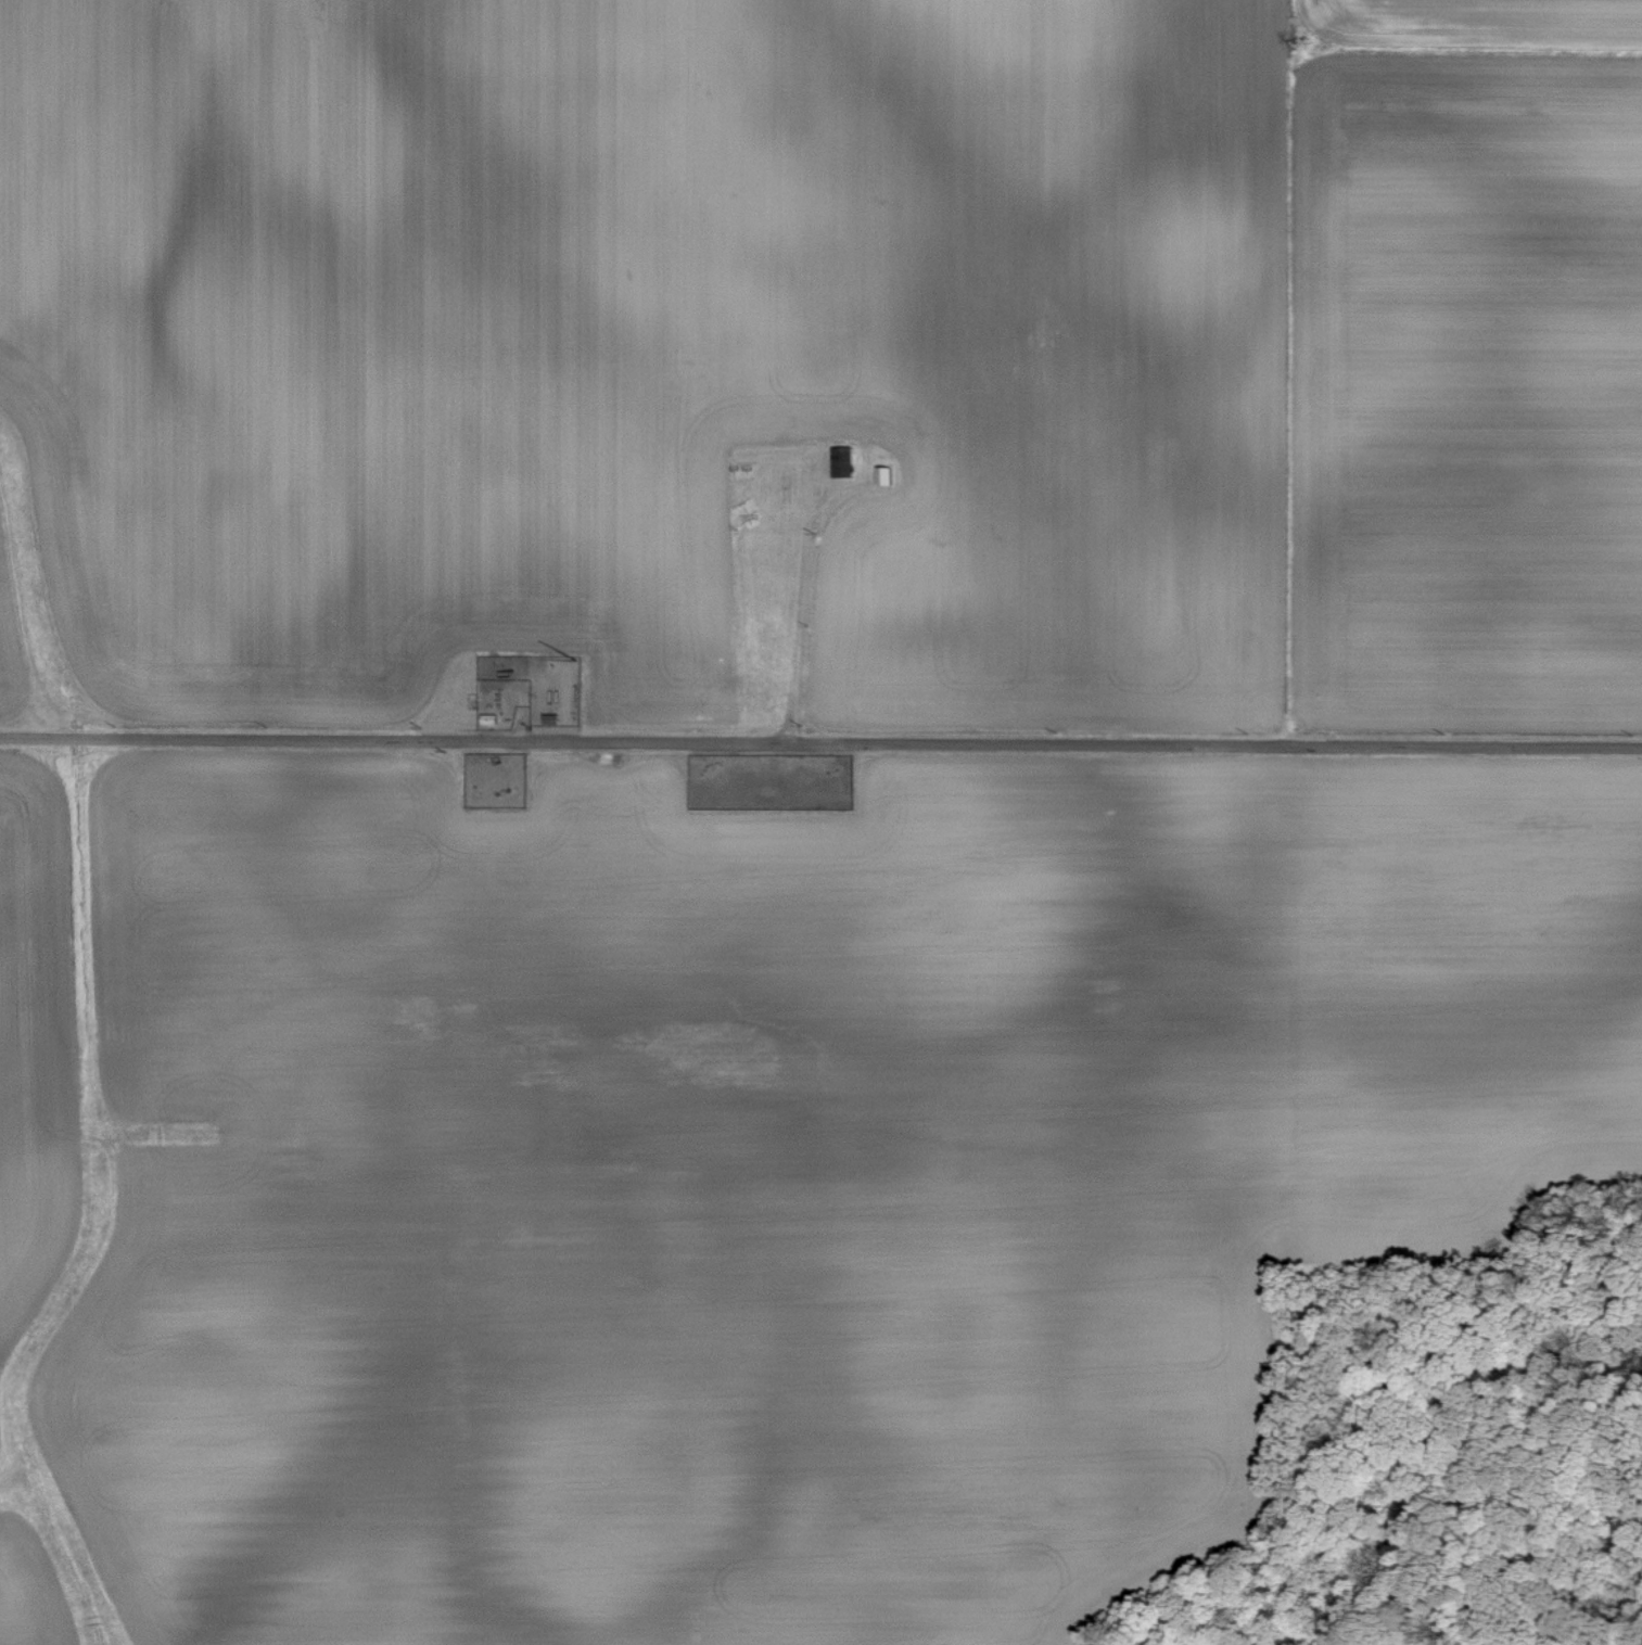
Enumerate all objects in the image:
building: (841, 462)
building: (882, 476)
building: (488, 719)
road: (820, 743)

